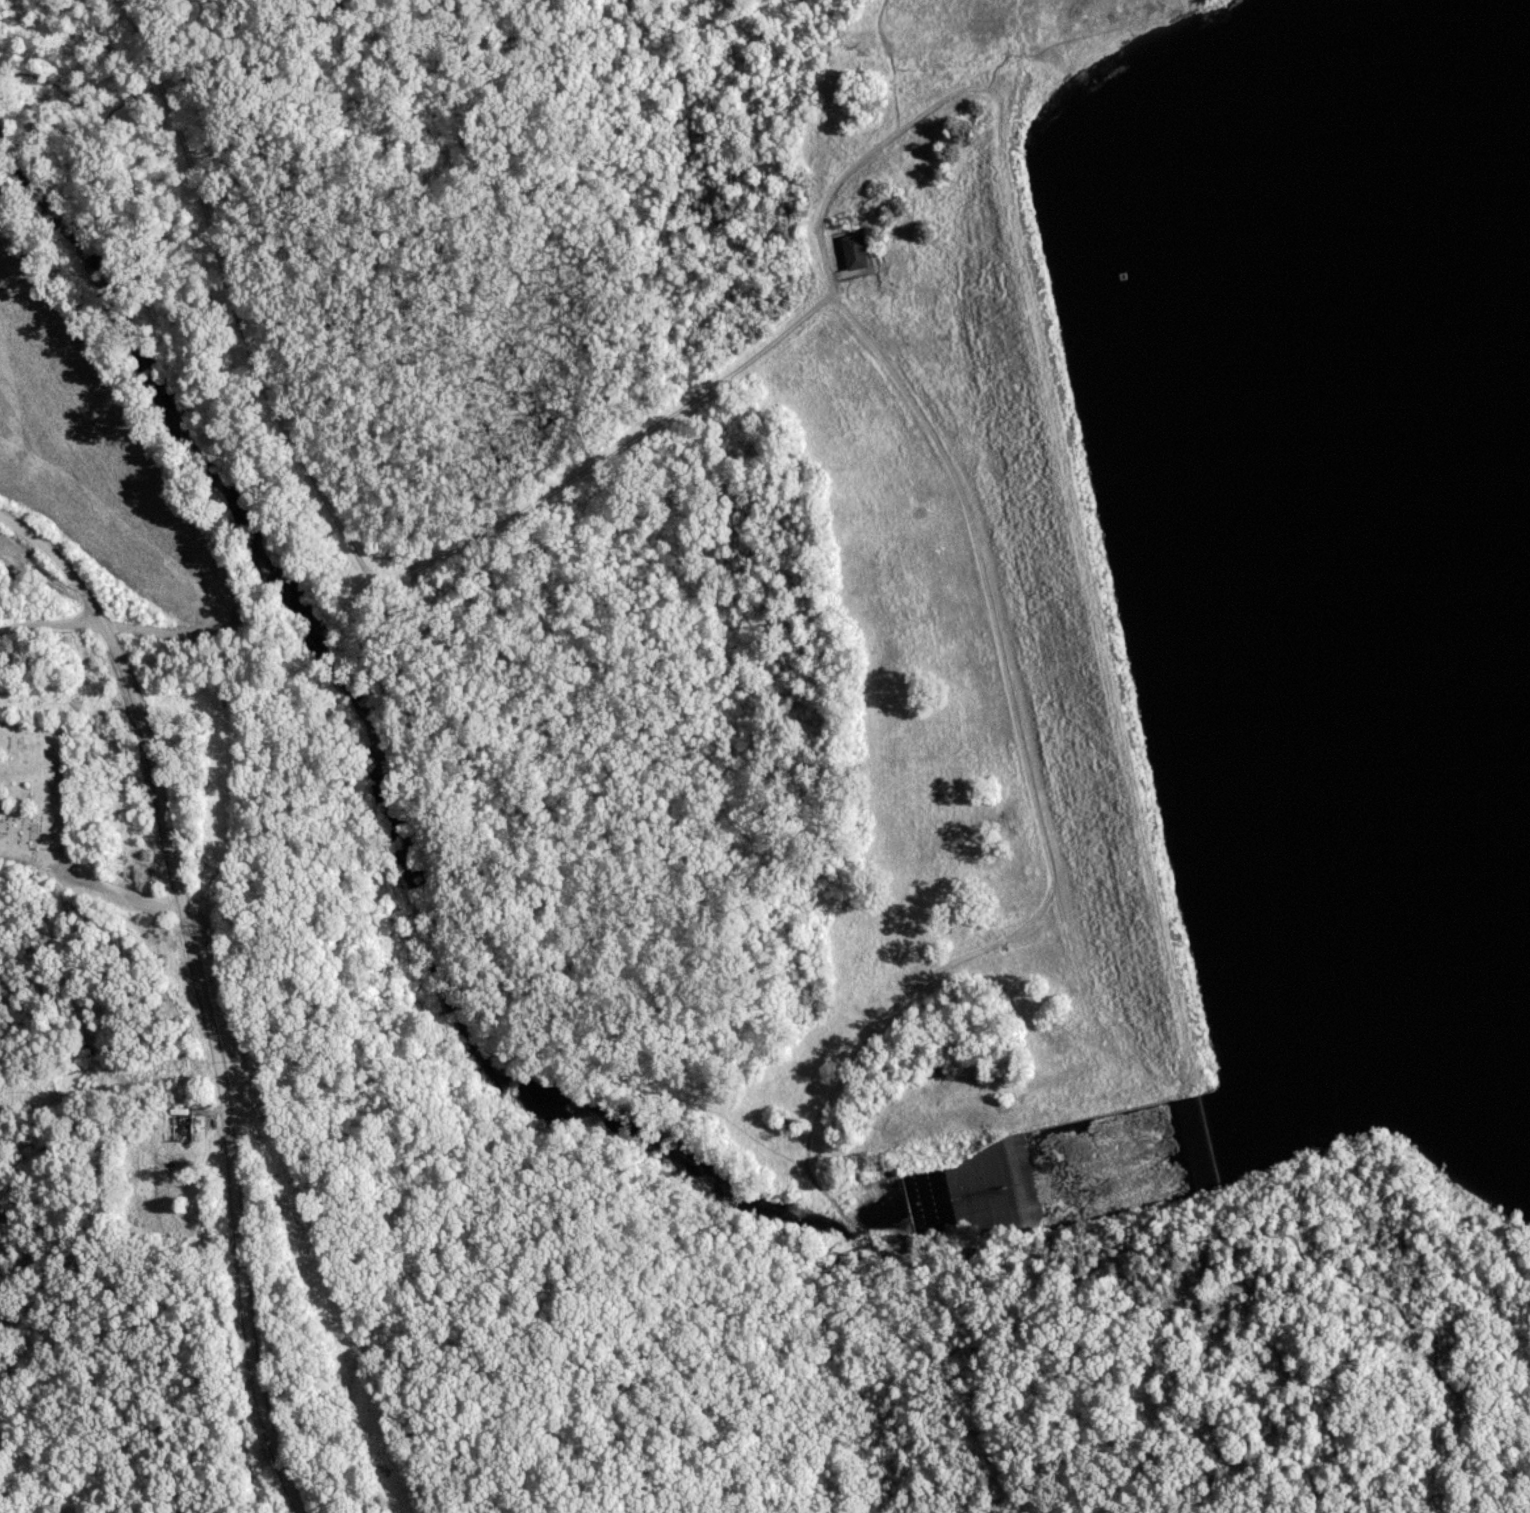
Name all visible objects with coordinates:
building: (853, 252)
road: (347, 540)
road: (59, 562)
dam: (1096, 574)
road: (51, 625)
park: (36, 791)
river: (415, 865)
road: (1044, 922)
road: (215, 1066)
building: (185, 1130)
road: (1392, 1311)

